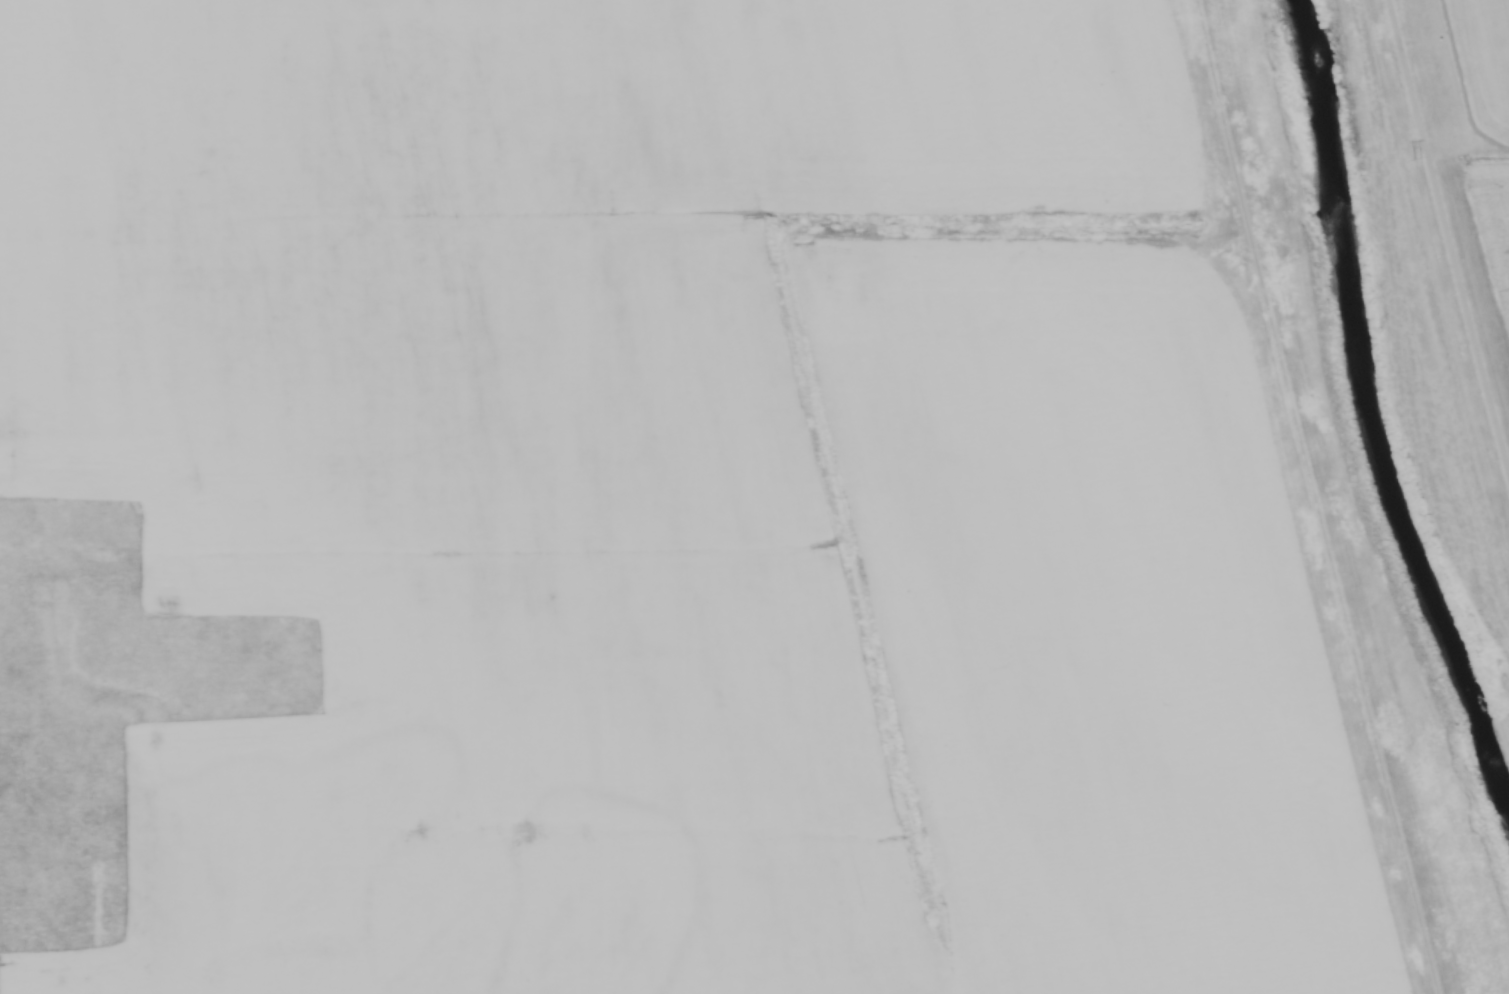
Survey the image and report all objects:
park: (1449, 74)
road: (1461, 83)
power tower: (1411, 164)
crop: (1500, 189)
road: (1447, 232)
river: (1365, 409)

